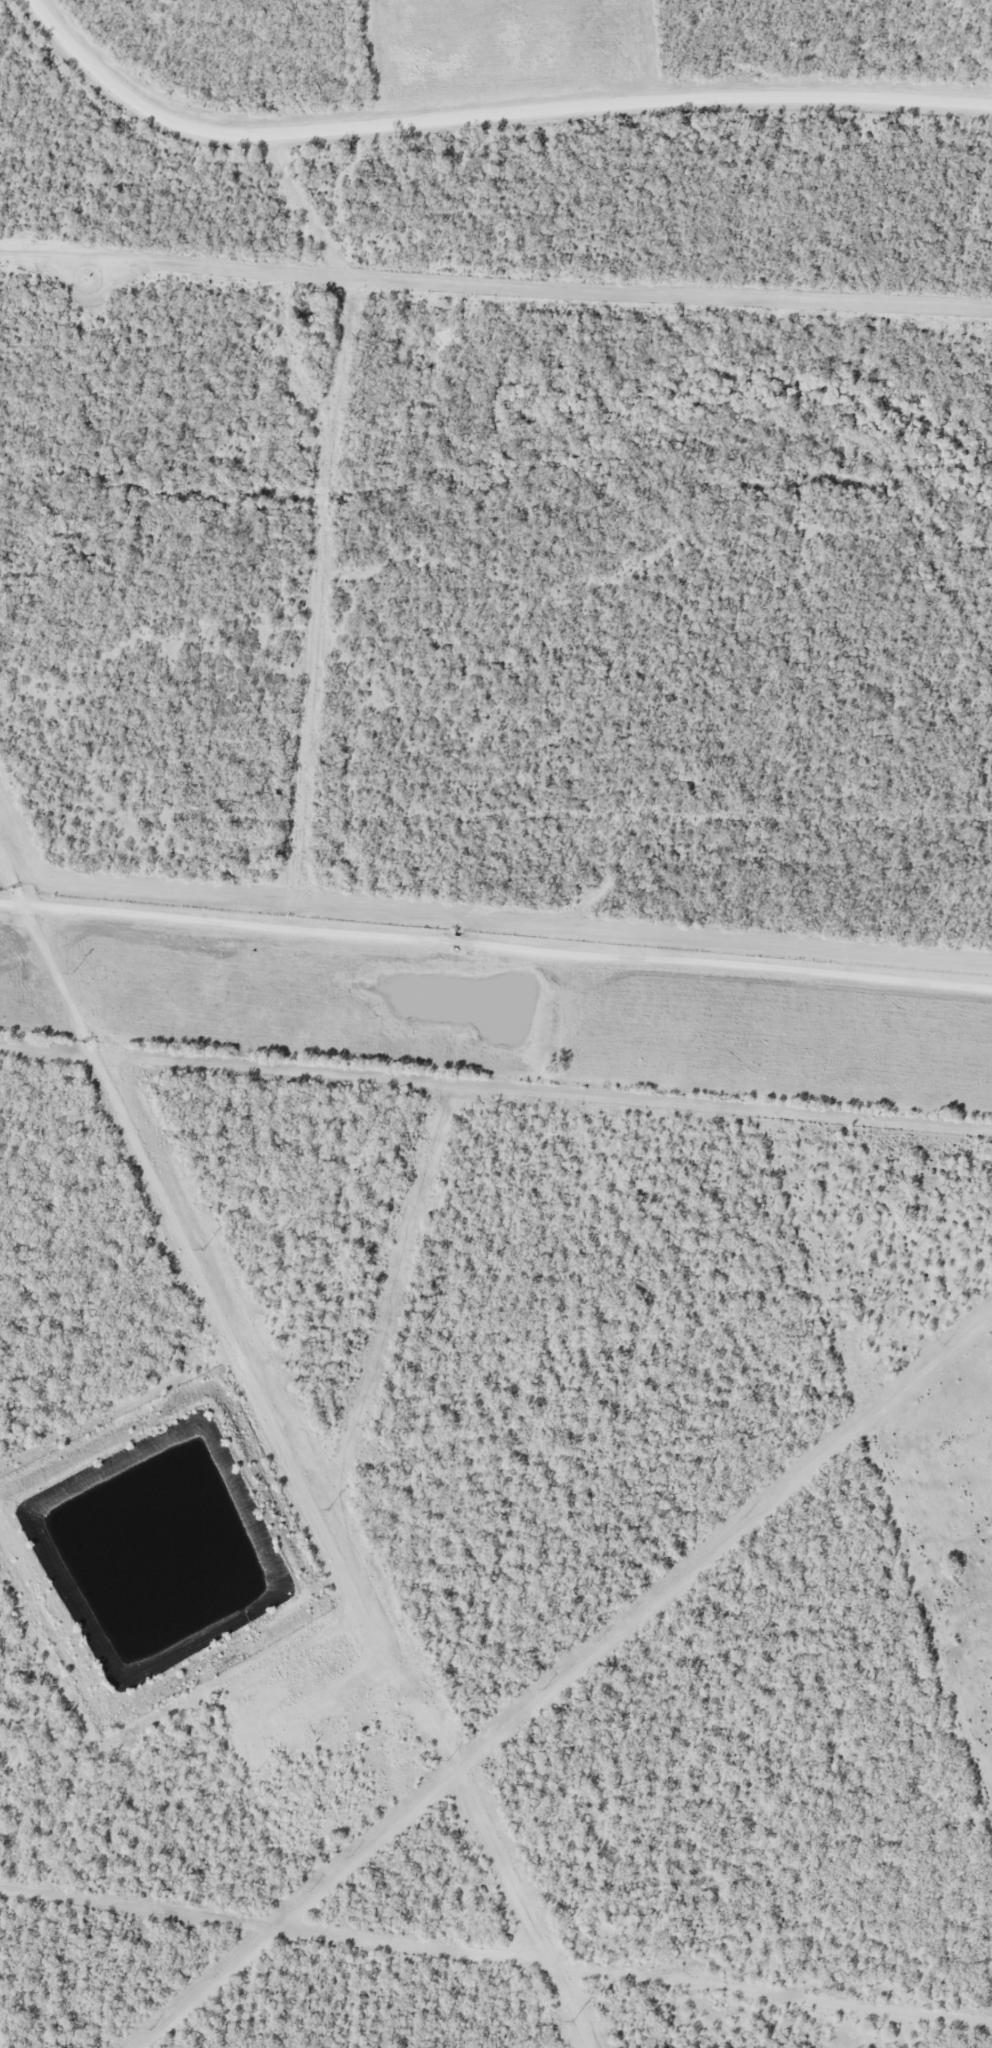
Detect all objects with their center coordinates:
road: (489, 115)
road: (495, 947)
power tower: (72, 970)
power tower: (204, 1248)
power tower: (447, 1757)
power tower: (572, 2019)

